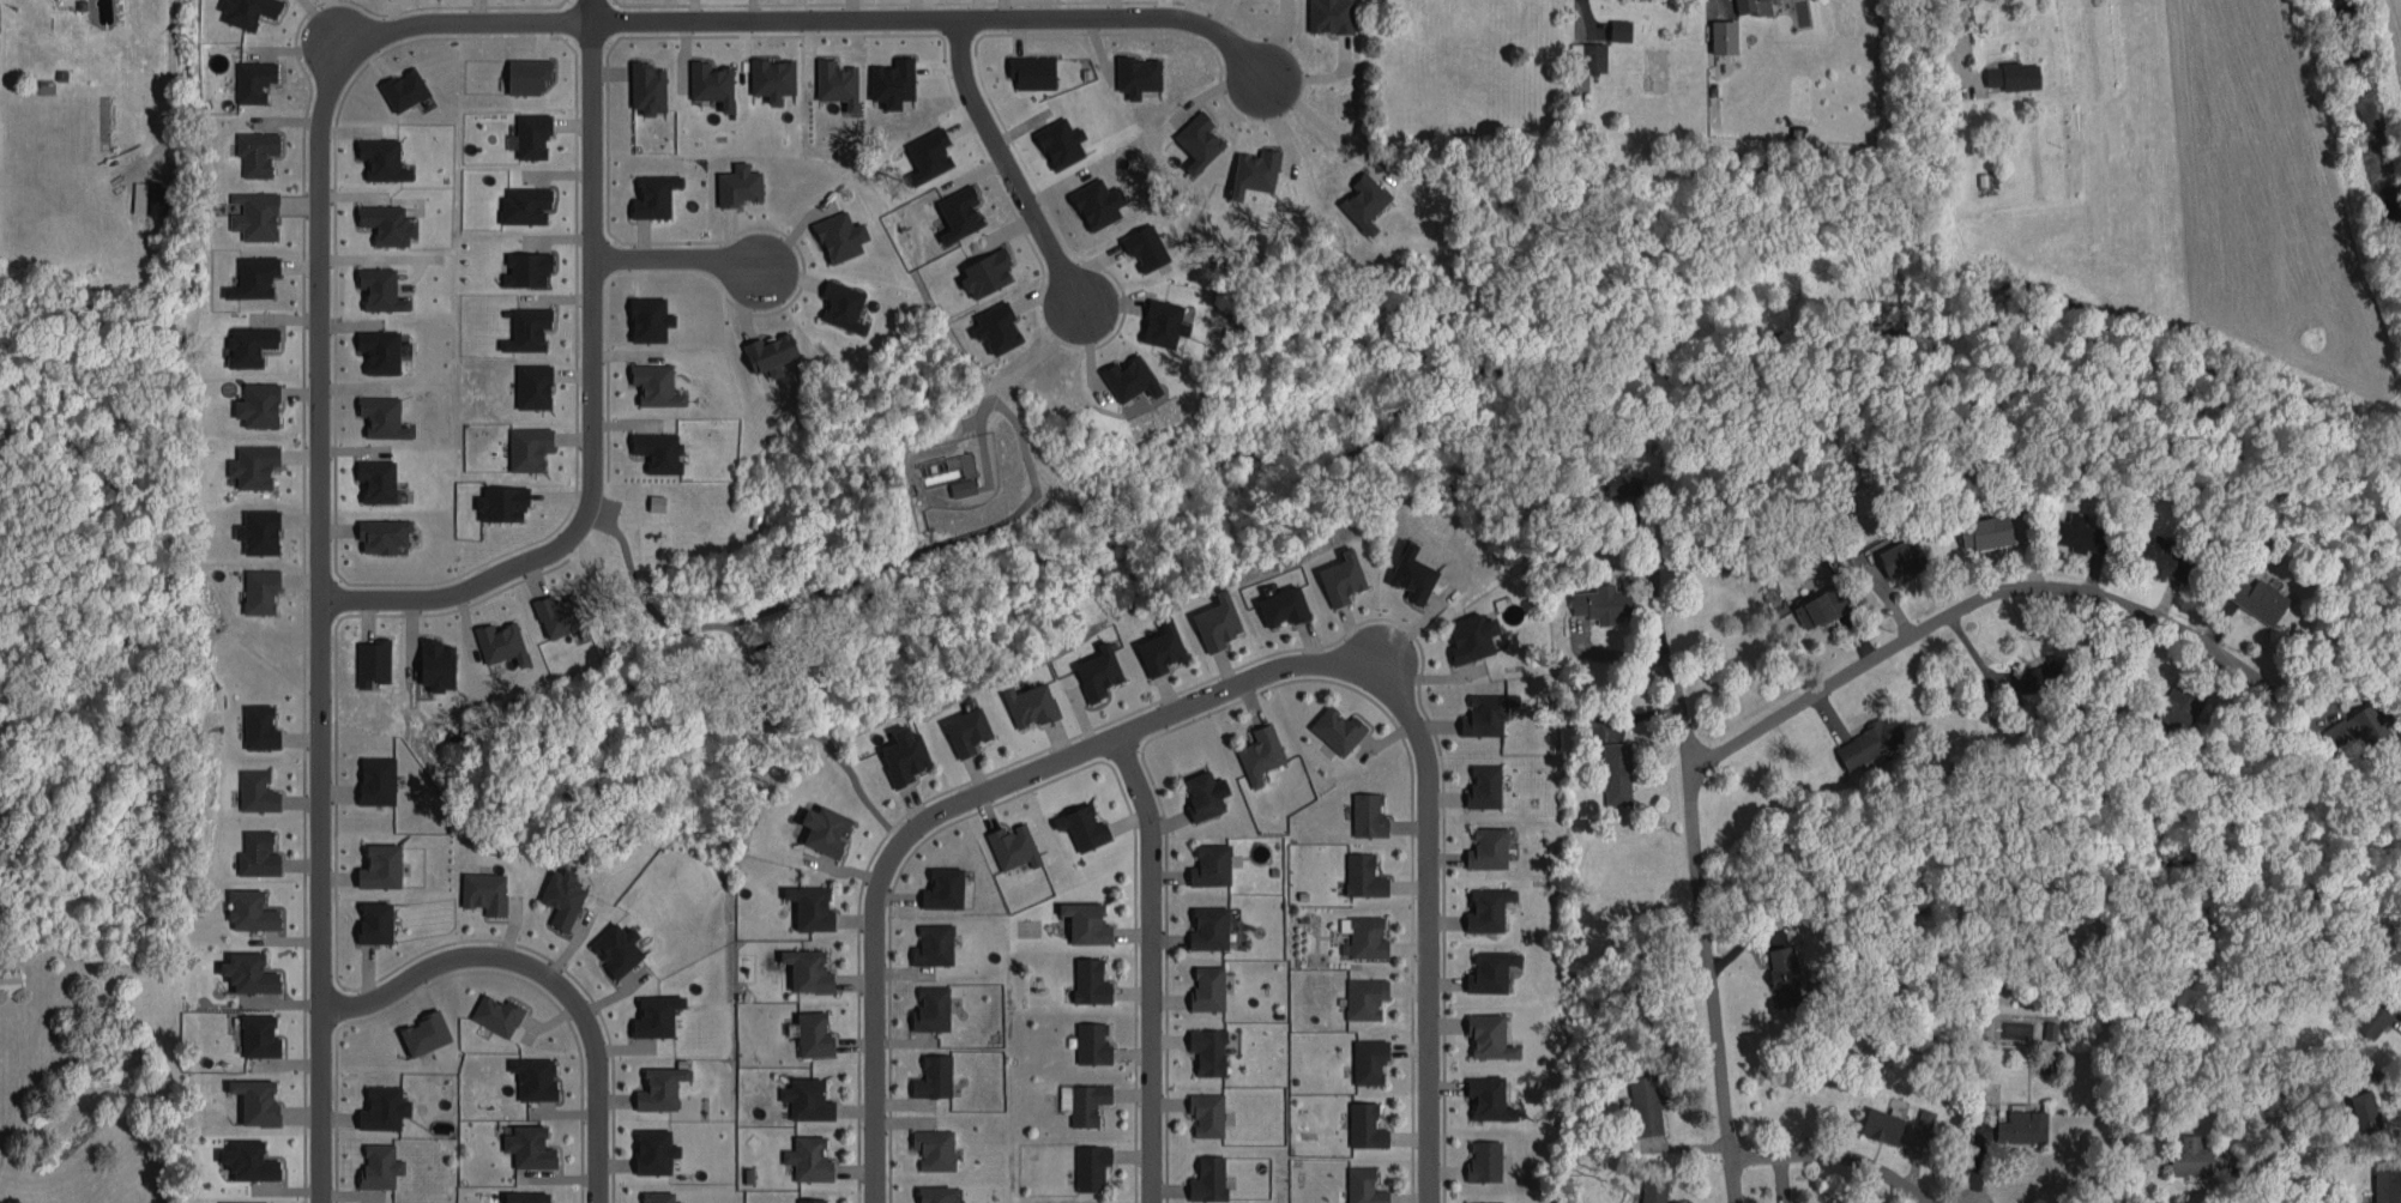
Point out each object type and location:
road: (1717, 4)
building: (1750, 5)
building: (243, 10)
road: (583, 11)
building: (1327, 13)
building: (1616, 25)
building: (1720, 32)
building: (1589, 53)
road: (167, 67)
building: (1028, 67)
building: (1134, 71)
building: (524, 72)
building: (768, 74)
building: (249, 77)
building: (889, 78)
building: (708, 79)
building: (833, 79)
building: (645, 84)
building: (400, 85)
road: (1317, 120)
building: (529, 131)
building: (1195, 137)
building: (1057, 139)
building: (253, 149)
road: (319, 150)
building: (925, 151)
building: (379, 156)
road: (1000, 167)
building: (1251, 168)
building: (736, 181)
building: (650, 192)
building: (145, 193)
building: (1094, 199)
building: (1362, 199)
building: (521, 201)
building: (957, 208)
building: (252, 211)
building: (382, 220)
building: (837, 232)
building: (1142, 244)
road: (680, 259)
building: (523, 265)
building: (983, 268)
building: (249, 273)
building: (378, 285)
building: (839, 302)
building: (646, 315)
building: (1160, 320)
building: (994, 324)
building: (524, 326)
building: (246, 340)
building: (376, 347)
building: (767, 349)
building: (1127, 374)
building: (652, 381)
building: (530, 382)
building: (254, 401)
road: (585, 411)
building: (379, 413)
building: (525, 443)
building: (654, 447)
building: (249, 461)
building: (374, 477)
building: (1621, 478)
building: (959, 483)
building: (499, 500)
building: (653, 500)
building: (255, 527)
building: (1984, 528)
building: (2077, 530)
building: (379, 531)
building: (1899, 554)
building: (2161, 556)
building: (1410, 570)
building: (1339, 574)
building: (257, 588)
building: (2255, 596)
building: (1599, 599)
building: (1280, 603)
building: (1818, 604)
building: (556, 611)
road: (1955, 613)
building: (1214, 618)
building: (1468, 634)
building: (497, 640)
building: (1158, 645)
building: (368, 658)
building: (434, 661)
building: (1094, 669)
building: (2034, 675)
building: (1026, 701)
road: (1176, 705)
building: (2176, 705)
building: (1483, 711)
building: (257, 723)
building: (2358, 724)
building: (1334, 726)
building: (964, 727)
building: (1865, 738)
building: (1256, 750)
building: (901, 752)
building: (1612, 769)
building: (373, 776)
building: (1480, 784)
building: (253, 788)
building: (1201, 792)
building: (1365, 811)
building: (1080, 824)
building: (821, 827)
building: (1011, 842)
building: (1484, 845)
building: (254, 851)
building: (1207, 862)
building: (375, 864)
building: (1359, 872)
building: (940, 885)
building: (481, 888)
building: (559, 894)
building: (808, 905)
building: (1485, 905)
building: (247, 907)
building: (372, 919)
building: (1082, 920)
building: (1206, 924)
building: (1362, 932)
road: (1708, 936)
building: (930, 942)
building: (614, 945)
road: (1150, 965)
building: (804, 967)
building: (1486, 968)
building: (246, 969)
road: (1422, 971)
building: (1781, 973)
road: (543, 975)
building: (7, 978)
building: (1087, 978)
building: (1203, 985)
building: (1362, 995)
building: (928, 1005)
road: (870, 1009)
building: (493, 1011)
building: (652, 1012)
building: (2371, 1015)
building: (422, 1029)
building: (810, 1030)
building: (255, 1033)
building: (1486, 1034)
building: (1088, 1040)
building: (1205, 1047)
building: (1365, 1057)
building: (930, 1074)
building: (531, 1075)
building: (657, 1084)
building: (1485, 1095)
building: (803, 1096)
building: (253, 1098)
building: (1080, 1099)
building: (1642, 1102)
building: (380, 1105)
building: (2361, 1108)
building: (1203, 1111)
building: (1878, 1122)
building: (1362, 1123)
building: (1923, 1123)
building: (2020, 1124)
building: (526, 1143)
building: (930, 1145)
building: (651, 1148)
building: (2188, 1153)
building: (806, 1155)
building: (246, 1157)
building: (1480, 1157)
road: (1838, 1159)
building: (375, 1162)
building: (1087, 1165)
building: (1205, 1175)
road: (2248, 1175)
building: (2383, 1184)
building: (1361, 1185)
building: (1649, 1189)
building: (931, 1192)
building: (523, 1195)
building: (657, 1196)
building: (807, 1198)
building: (245, 1201)
building: (1482, 1201)

